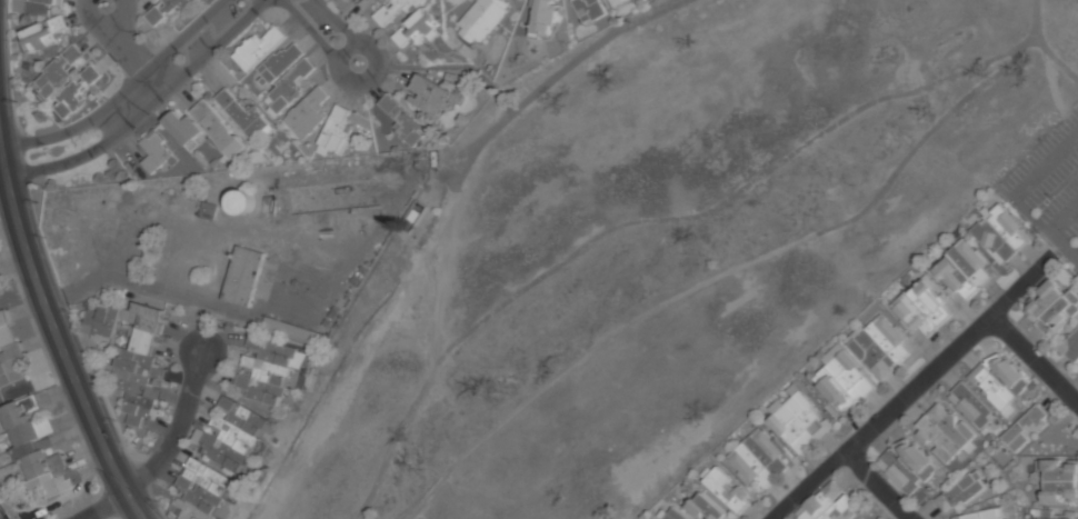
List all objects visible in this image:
building: (47, 1)
building: (153, 1)
building: (381, 1)
building: (615, 2)
building: (167, 9)
building: (396, 9)
building: (588, 9)
building: (542, 18)
building: (481, 19)
building: (417, 30)
road: (325, 31)
building: (41, 36)
road: (123, 48)
building: (257, 48)
road: (180, 59)
road: (2, 71)
building: (57, 73)
building: (288, 89)
building: (76, 92)
building: (430, 94)
building: (307, 113)
building: (244, 116)
building: (402, 119)
road: (0, 126)
road: (0, 127)
building: (217, 128)
building: (184, 129)
building: (338, 129)
road: (61, 131)
building: (154, 151)
road: (70, 154)
parking lot: (1051, 187)
road: (1015, 197)
building: (242, 201)
road: (1064, 218)
building: (961, 269)
building: (243, 276)
building: (921, 308)
building: (1052, 308)
building: (100, 322)
road: (54, 328)
building: (289, 331)
building: (1071, 345)
building: (879, 347)
building: (830, 353)
building: (9, 356)
road: (1034, 362)
building: (139, 366)
building: (267, 369)
building: (999, 380)
building: (841, 381)
road: (912, 389)
building: (971, 406)
building: (797, 421)
building: (989, 426)
building: (1026, 428)
road: (177, 431)
building: (231, 435)
building: (36, 447)
building: (927, 448)
building: (758, 458)
building: (1059, 481)
road: (874, 486)
building: (726, 489)
building: (201, 492)
building: (960, 492)
building: (828, 505)
road: (106, 507)
building: (707, 508)
building: (675, 515)
building: (982, 515)
building: (1055, 515)

